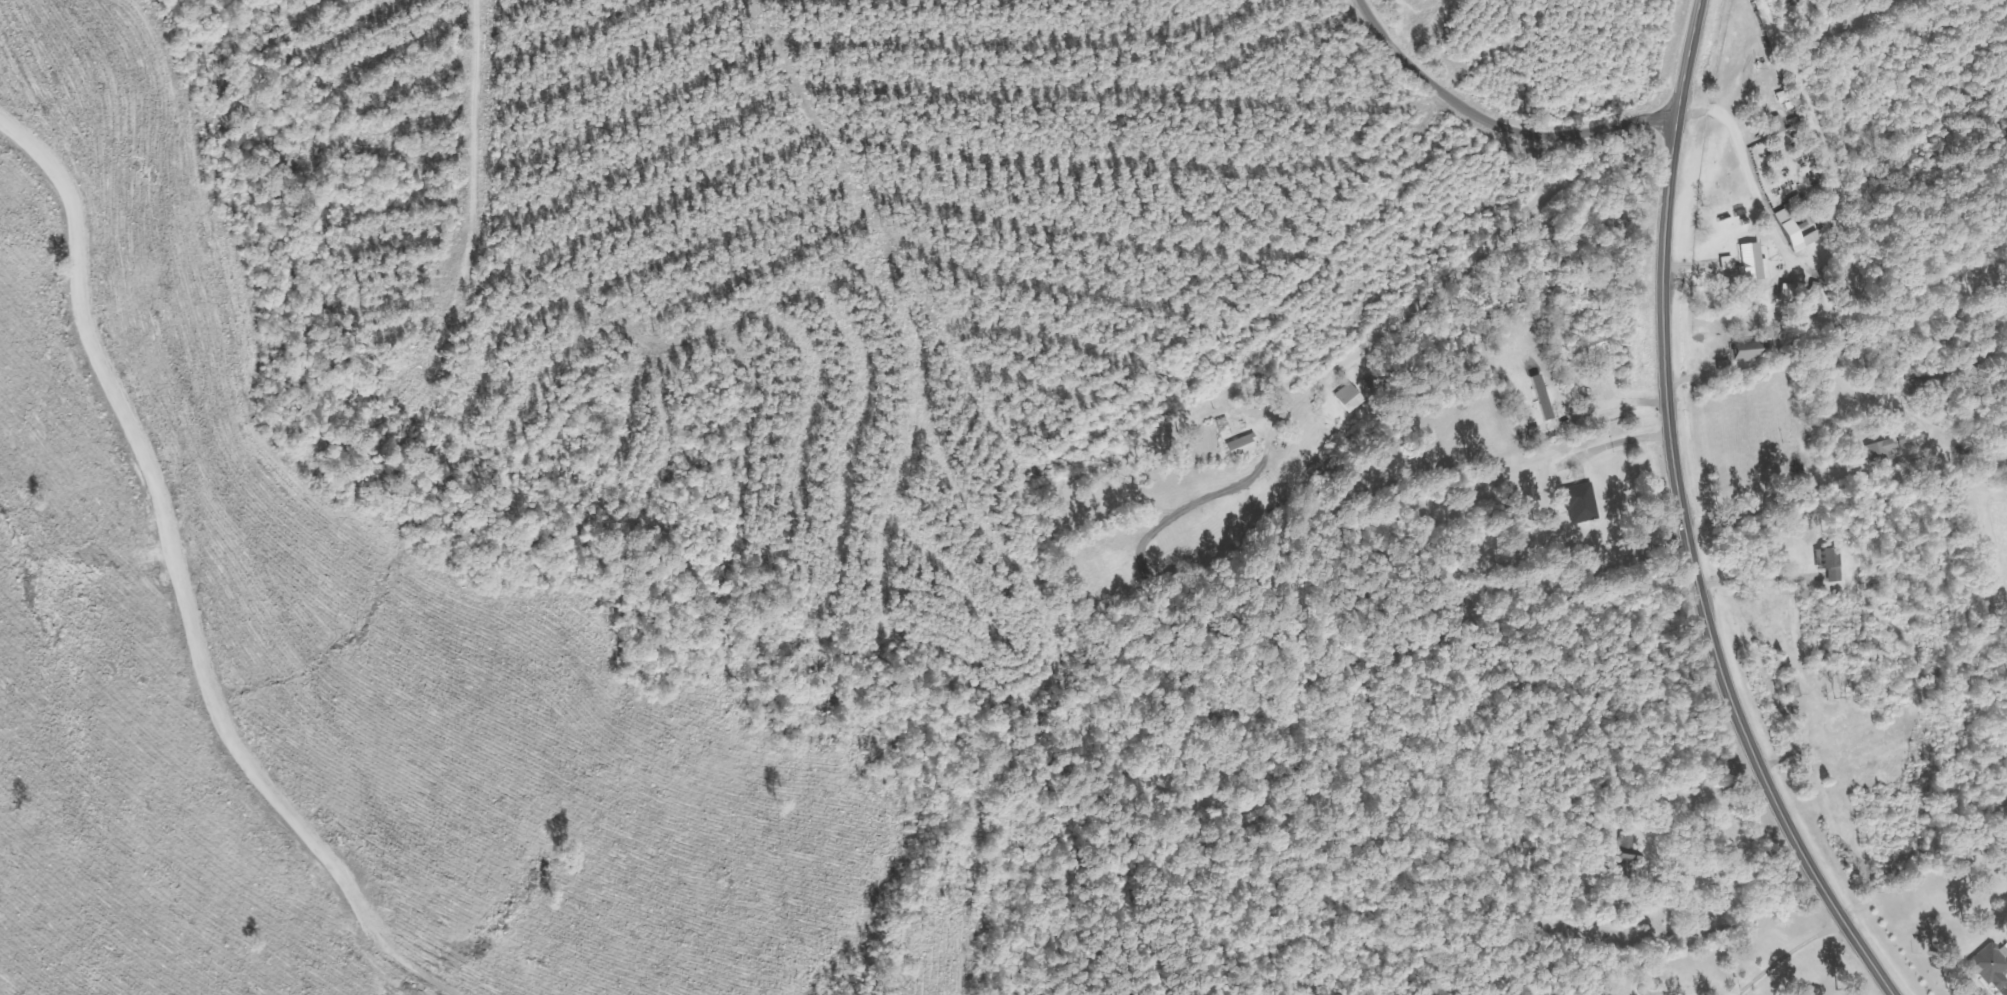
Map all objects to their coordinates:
road: (488, 116)
road: (1494, 126)
building: (1797, 233)
road: (1474, 259)
building: (1755, 263)
building: (1749, 350)
building: (1350, 398)
building: (1243, 446)
building: (1880, 452)
building: (1582, 503)
road: (163, 518)
road: (1681, 520)
building: (1831, 563)
building: (1795, 690)
building: (1993, 967)

